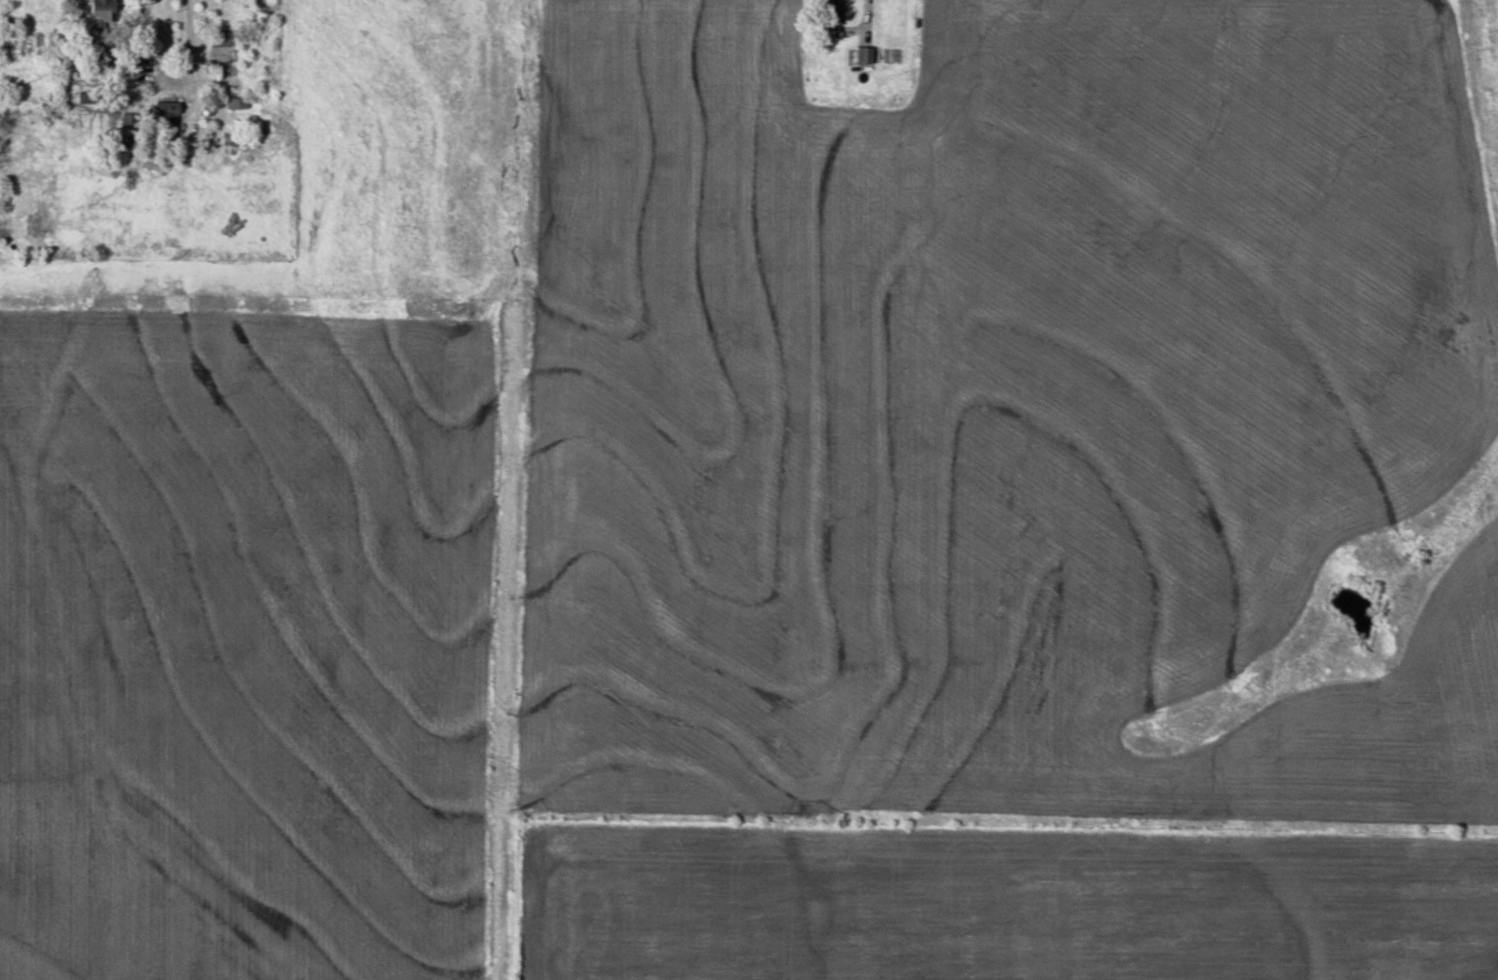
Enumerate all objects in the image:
building: (102, 11)
building: (831, 13)
building: (223, 40)
road: (187, 56)
building: (864, 56)
building: (237, 105)
building: (167, 112)
crop: (1000, 905)

